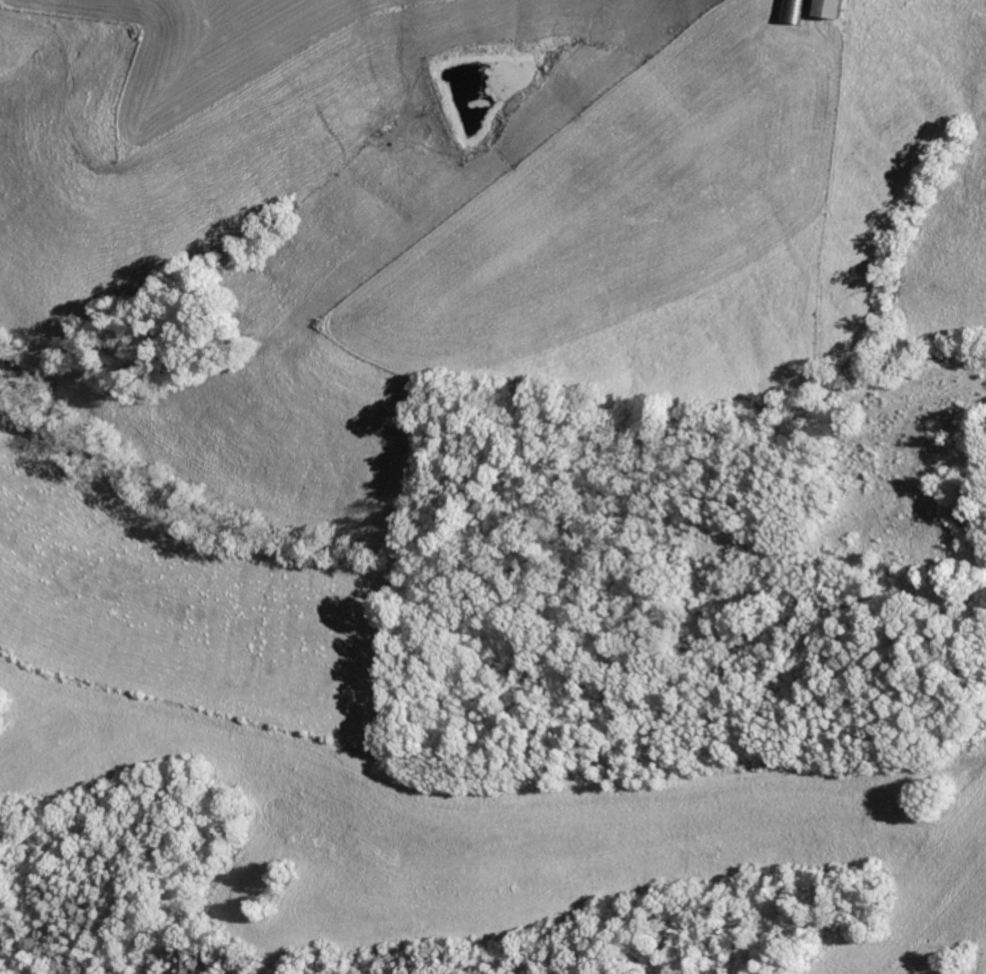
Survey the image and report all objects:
building: (837, 8)

